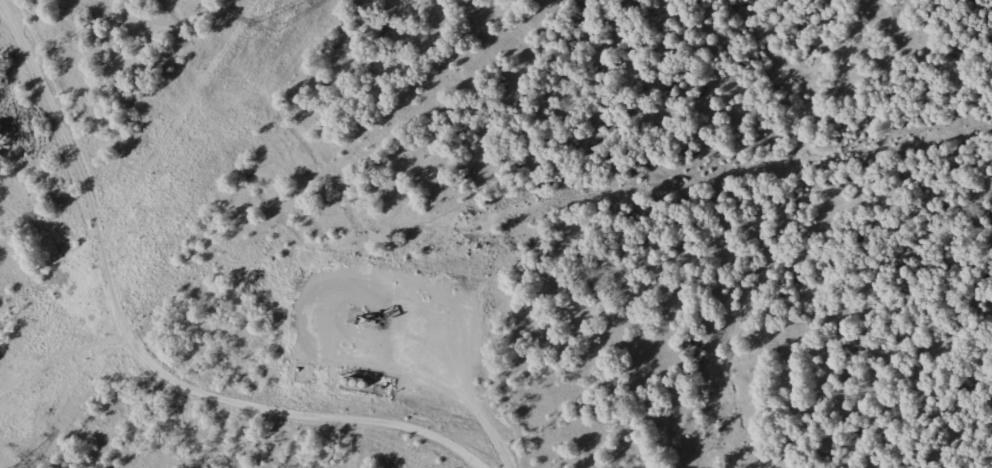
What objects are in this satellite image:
power tower: (269, 22)
road: (48, 429)

